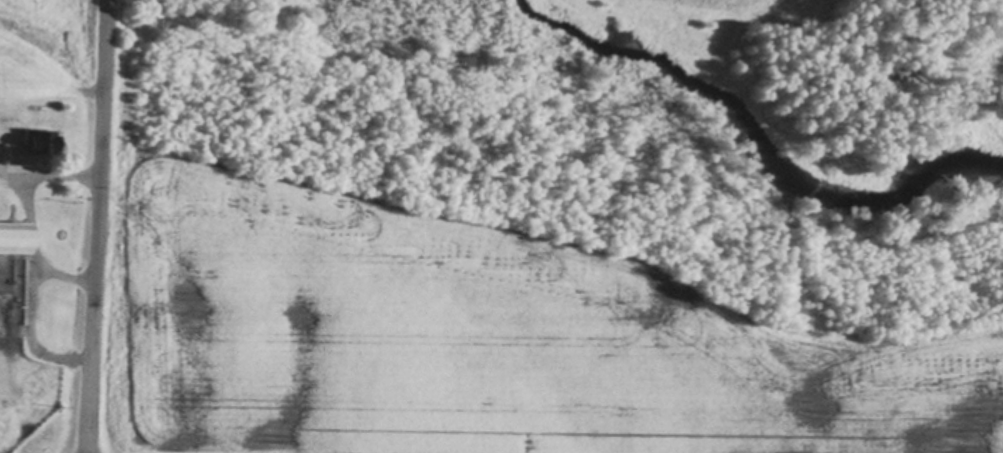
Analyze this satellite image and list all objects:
building: (30, 150)
road: (17, 185)
road: (90, 226)
building: (17, 241)
road: (29, 312)

